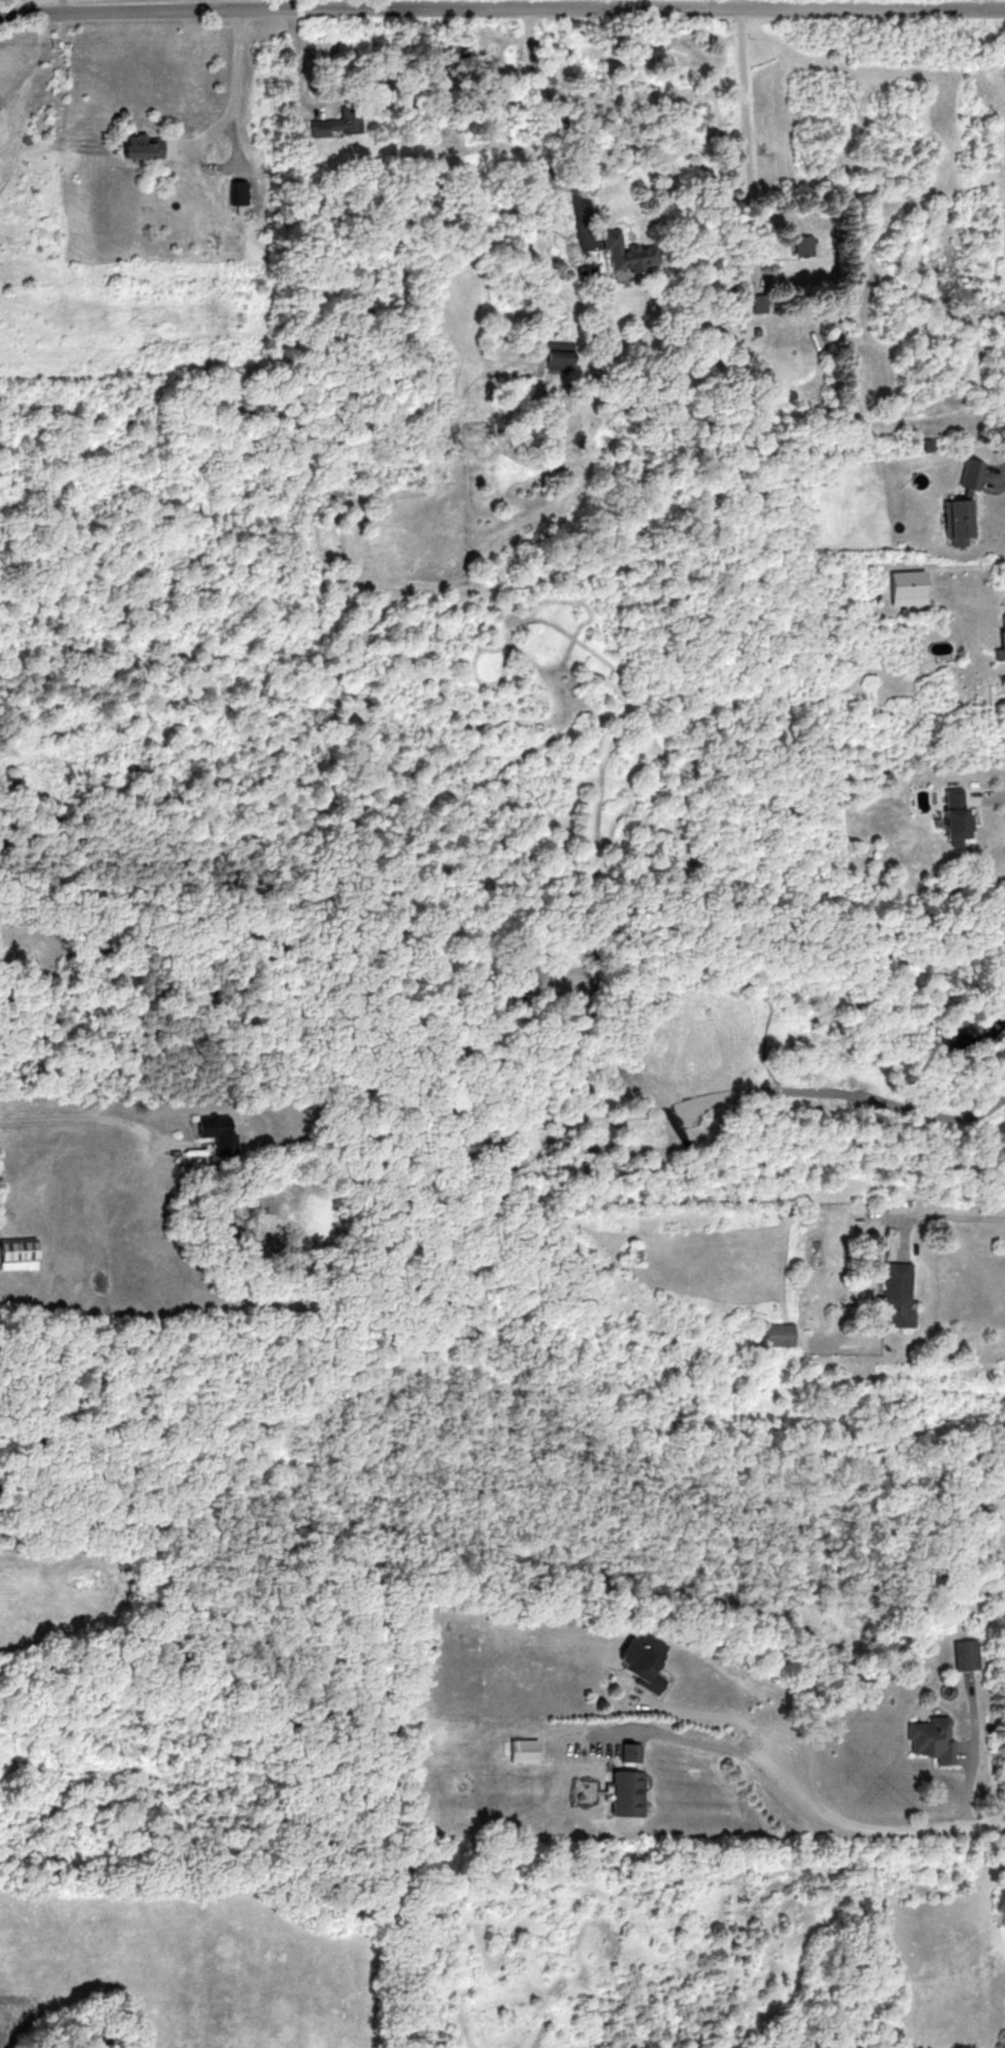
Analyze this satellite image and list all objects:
road: (257, 5)
road: (62, 7)
road: (502, 8)
road: (300, 97)
road: (563, 113)
building: (337, 123)
road: (231, 129)
road: (749, 141)
building: (143, 147)
building: (240, 192)
building: (804, 245)
building: (627, 252)
building: (762, 303)
building: (560, 356)
building: (971, 474)
road: (997, 477)
building: (959, 519)
building: (908, 587)
building: (1001, 647)
road: (994, 799)
building: (956, 817)
road: (93, 1117)
building: (218, 1133)
road: (949, 1219)
building: (18, 1253)
building: (896, 1296)
building: (779, 1334)
building: (966, 1654)
building: (643, 1661)
building: (933, 1738)
road: (714, 1745)
building: (524, 1750)
building: (631, 1752)
road: (974, 1758)
building: (628, 1793)
road: (867, 1833)

